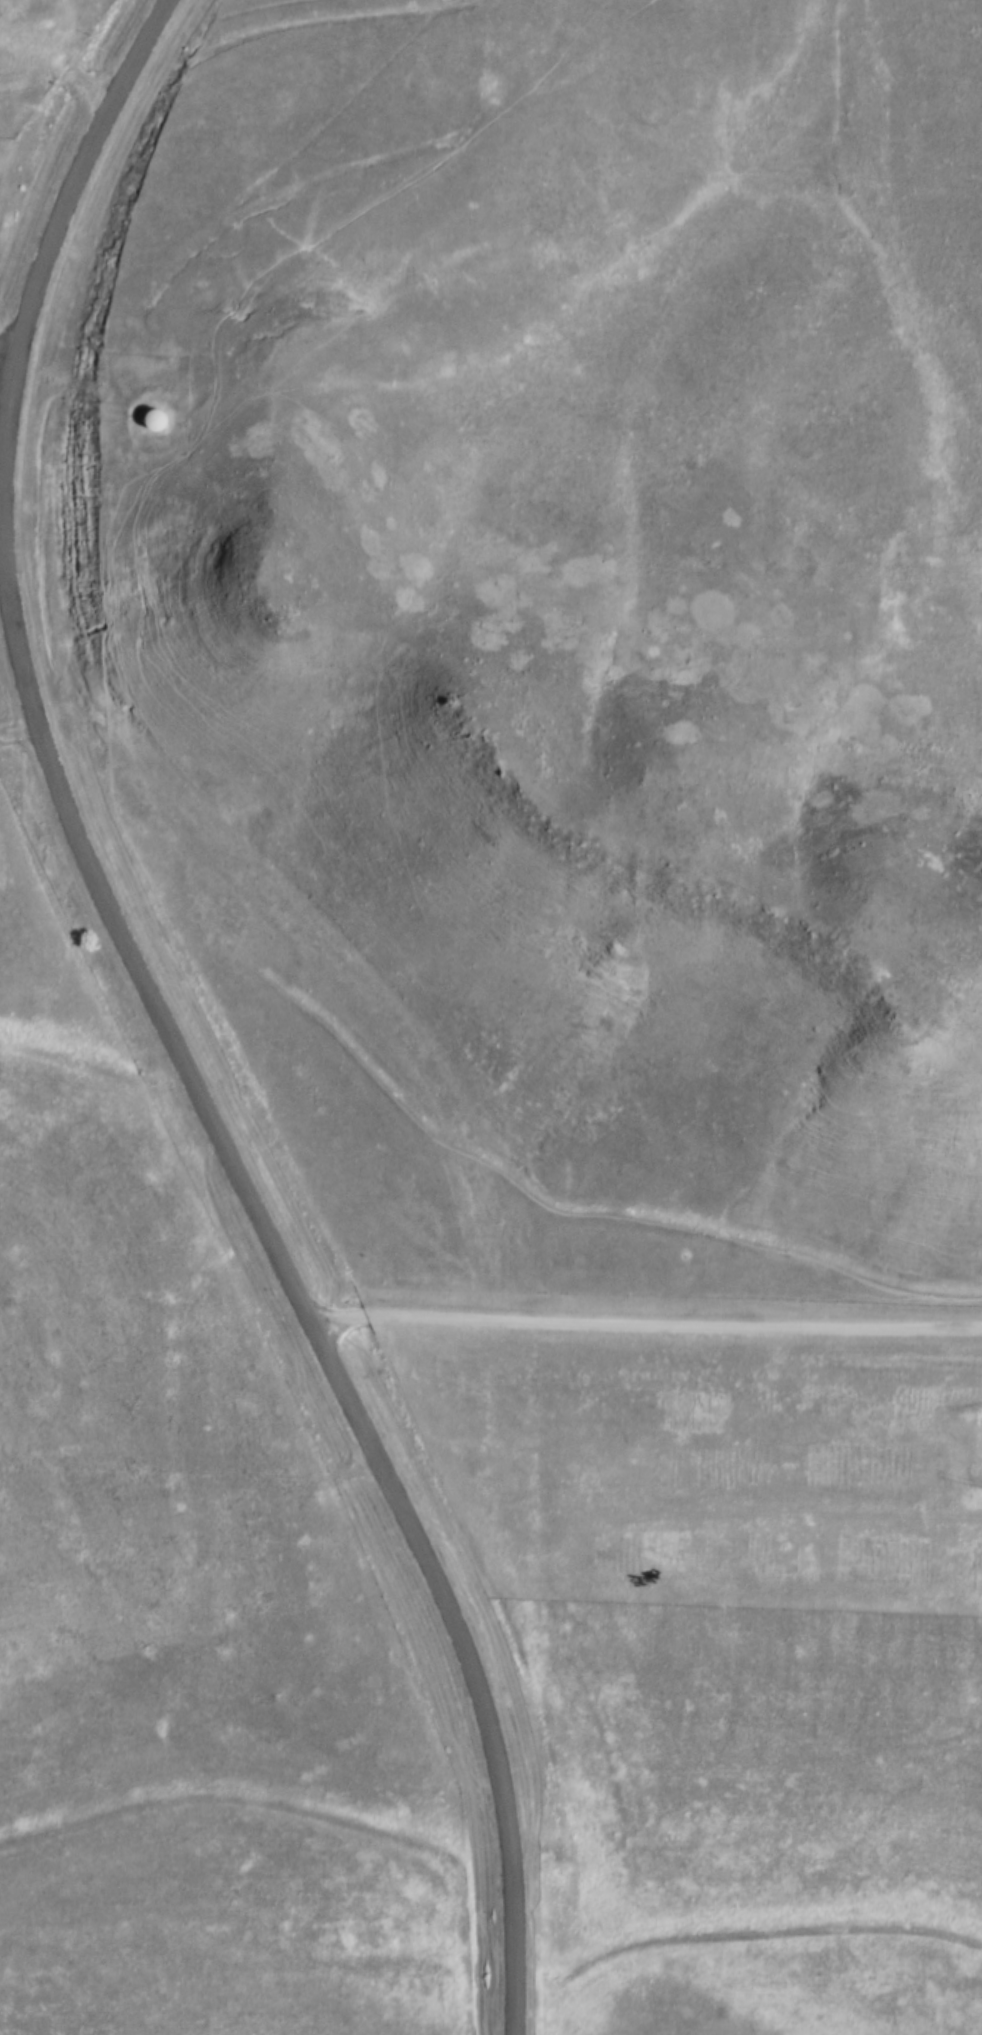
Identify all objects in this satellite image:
building: (153, 418)
road: (21, 674)
road: (644, 1325)
road: (466, 1662)

